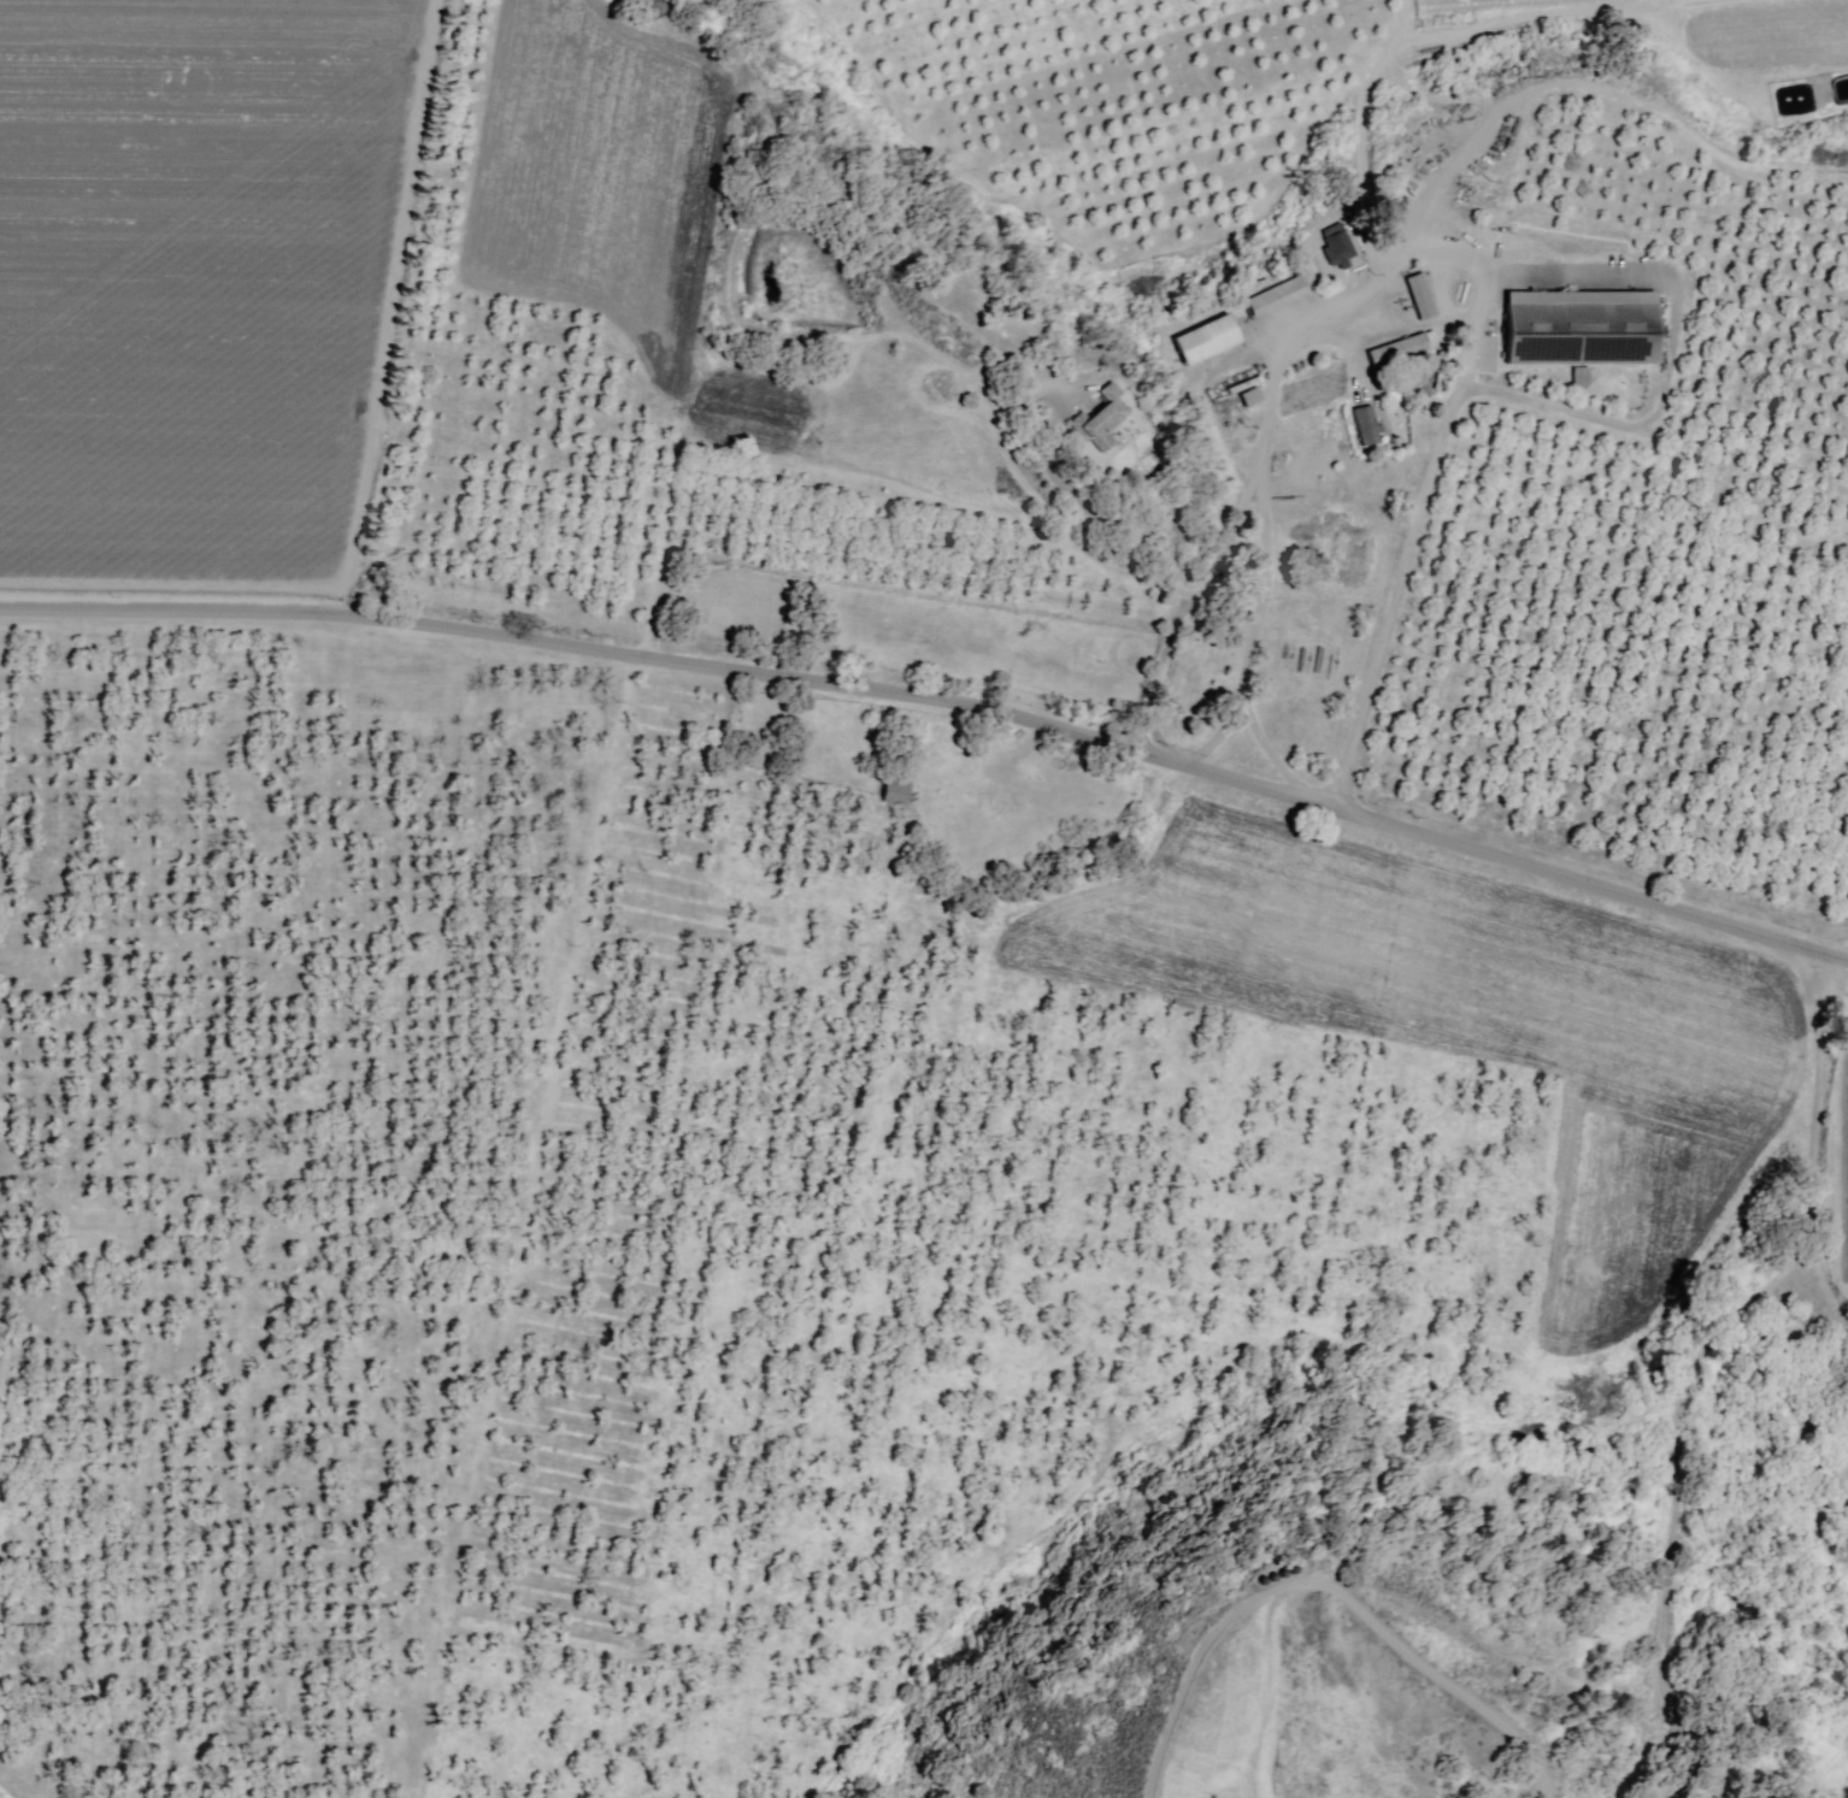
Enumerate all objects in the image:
building: (1335, 243)
building: (1273, 294)
building: (1418, 295)
building: (1581, 325)
building: (1206, 338)
building: (1400, 347)
building: (1101, 420)
building: (1364, 425)
road: (1137, 552)
road: (1255, 558)
road: (940, 703)
building: (893, 791)
crop: (829, 878)
road: (1808, 1155)

